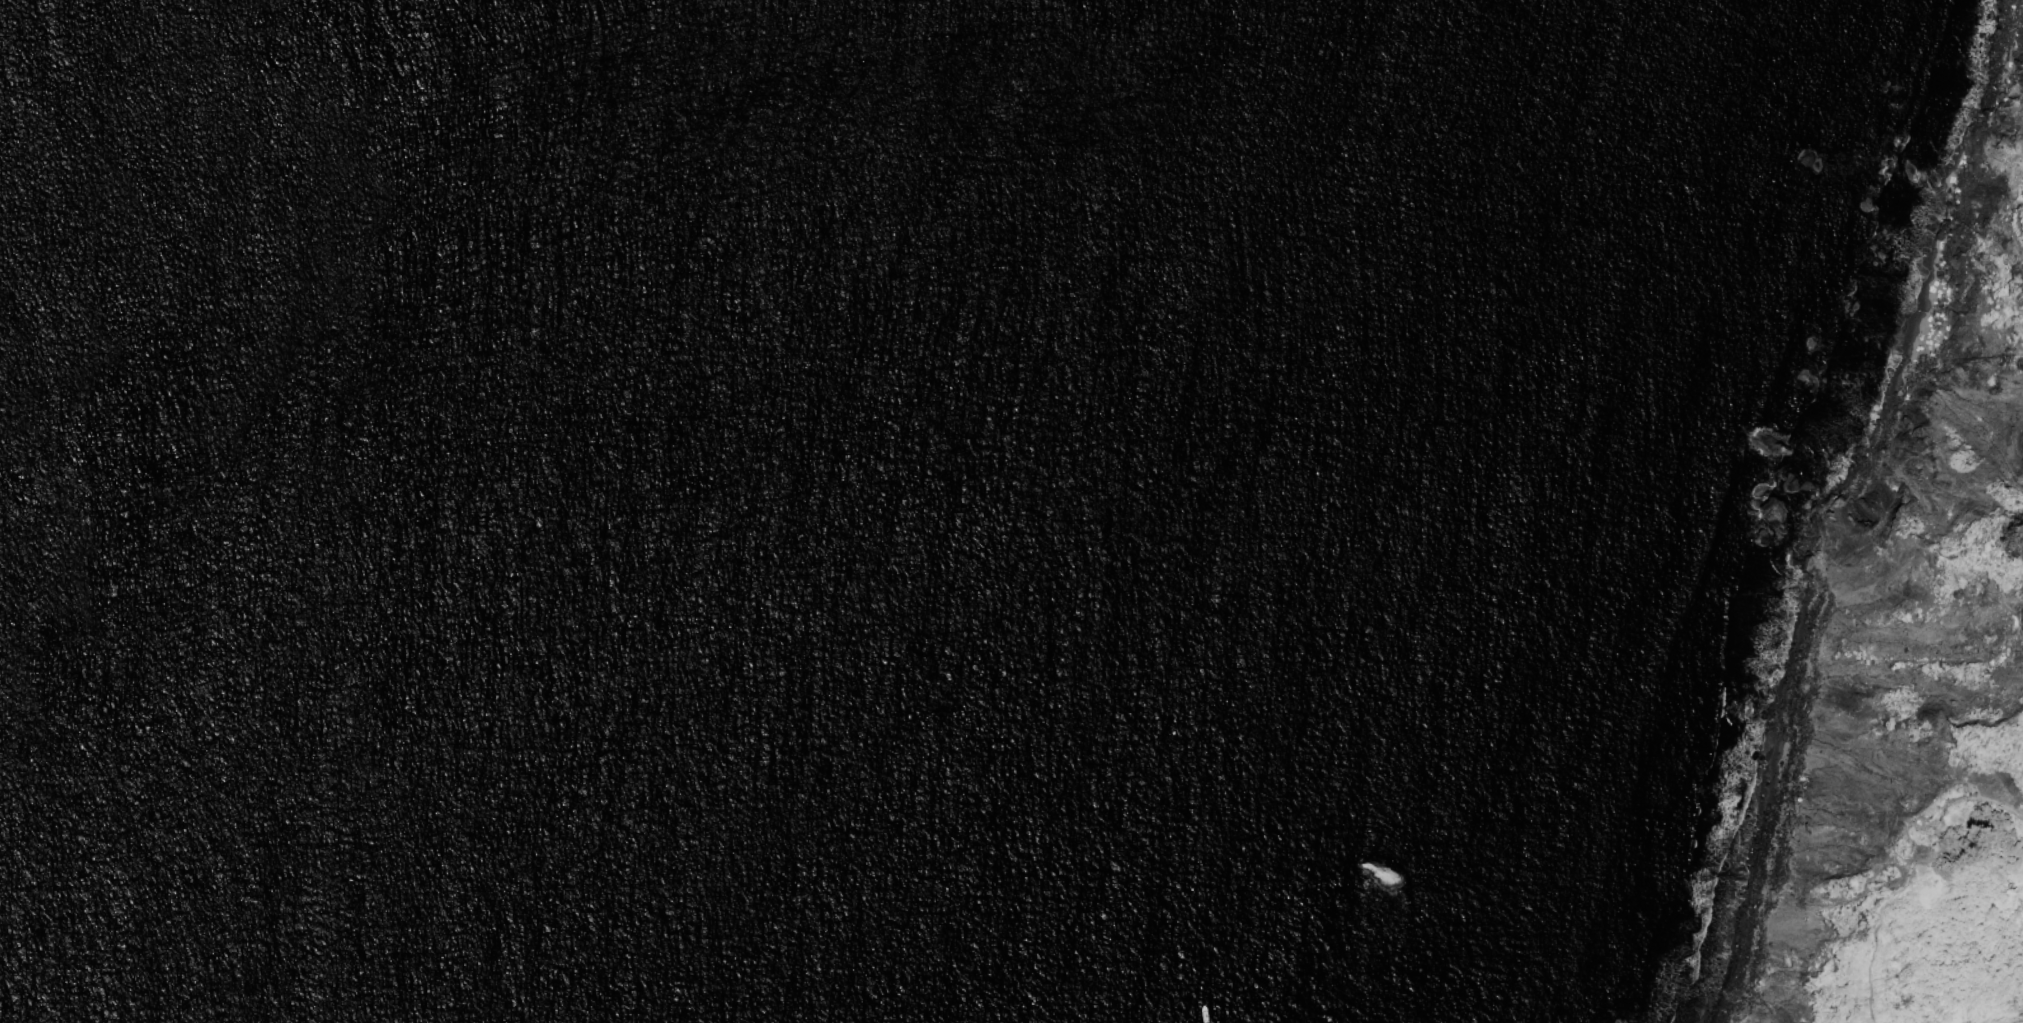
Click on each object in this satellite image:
park: (1902, 651)
road: (1921, 824)
road: (1938, 833)
road: (1872, 994)

